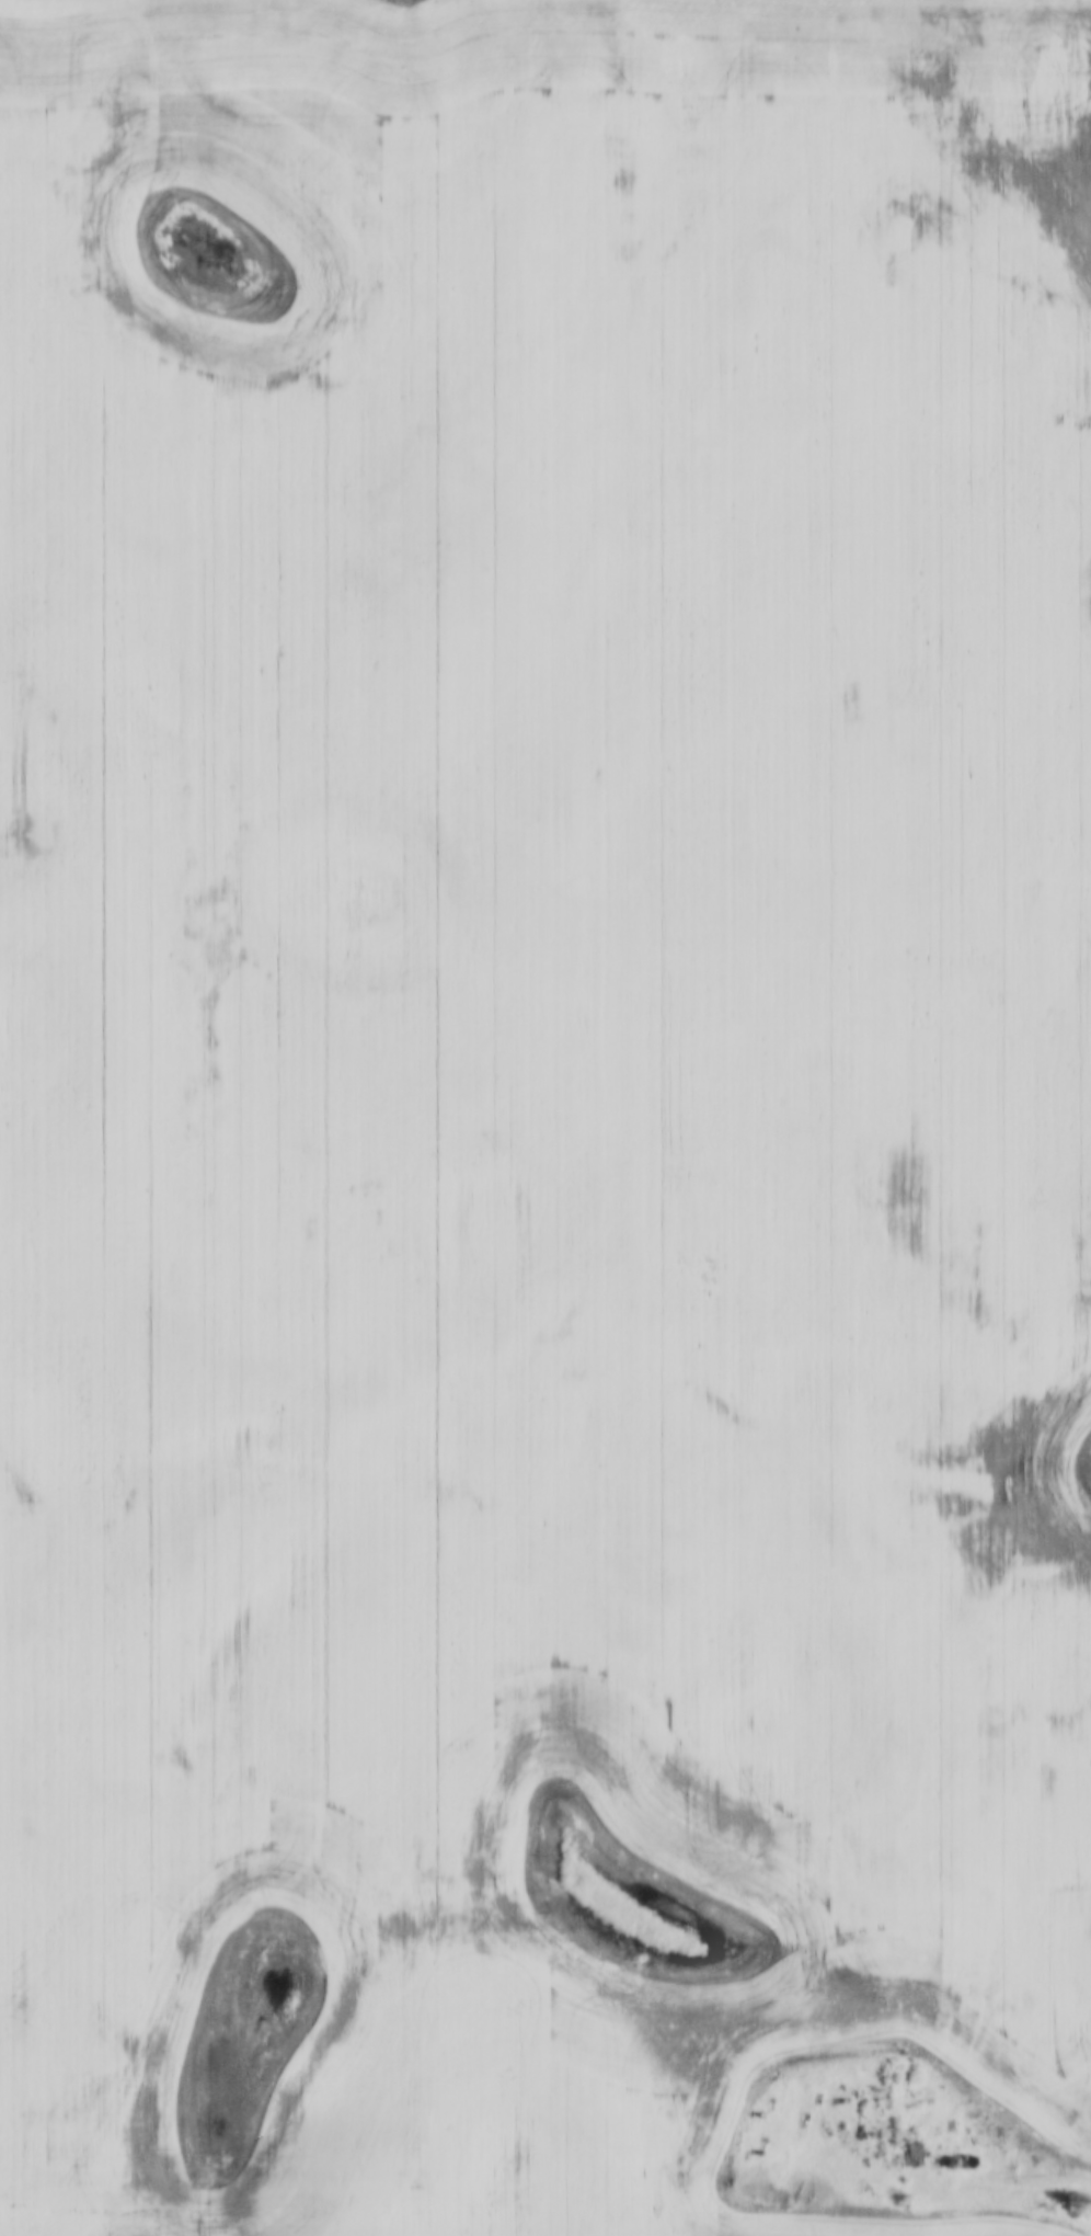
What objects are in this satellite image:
road: (941, 2175)

